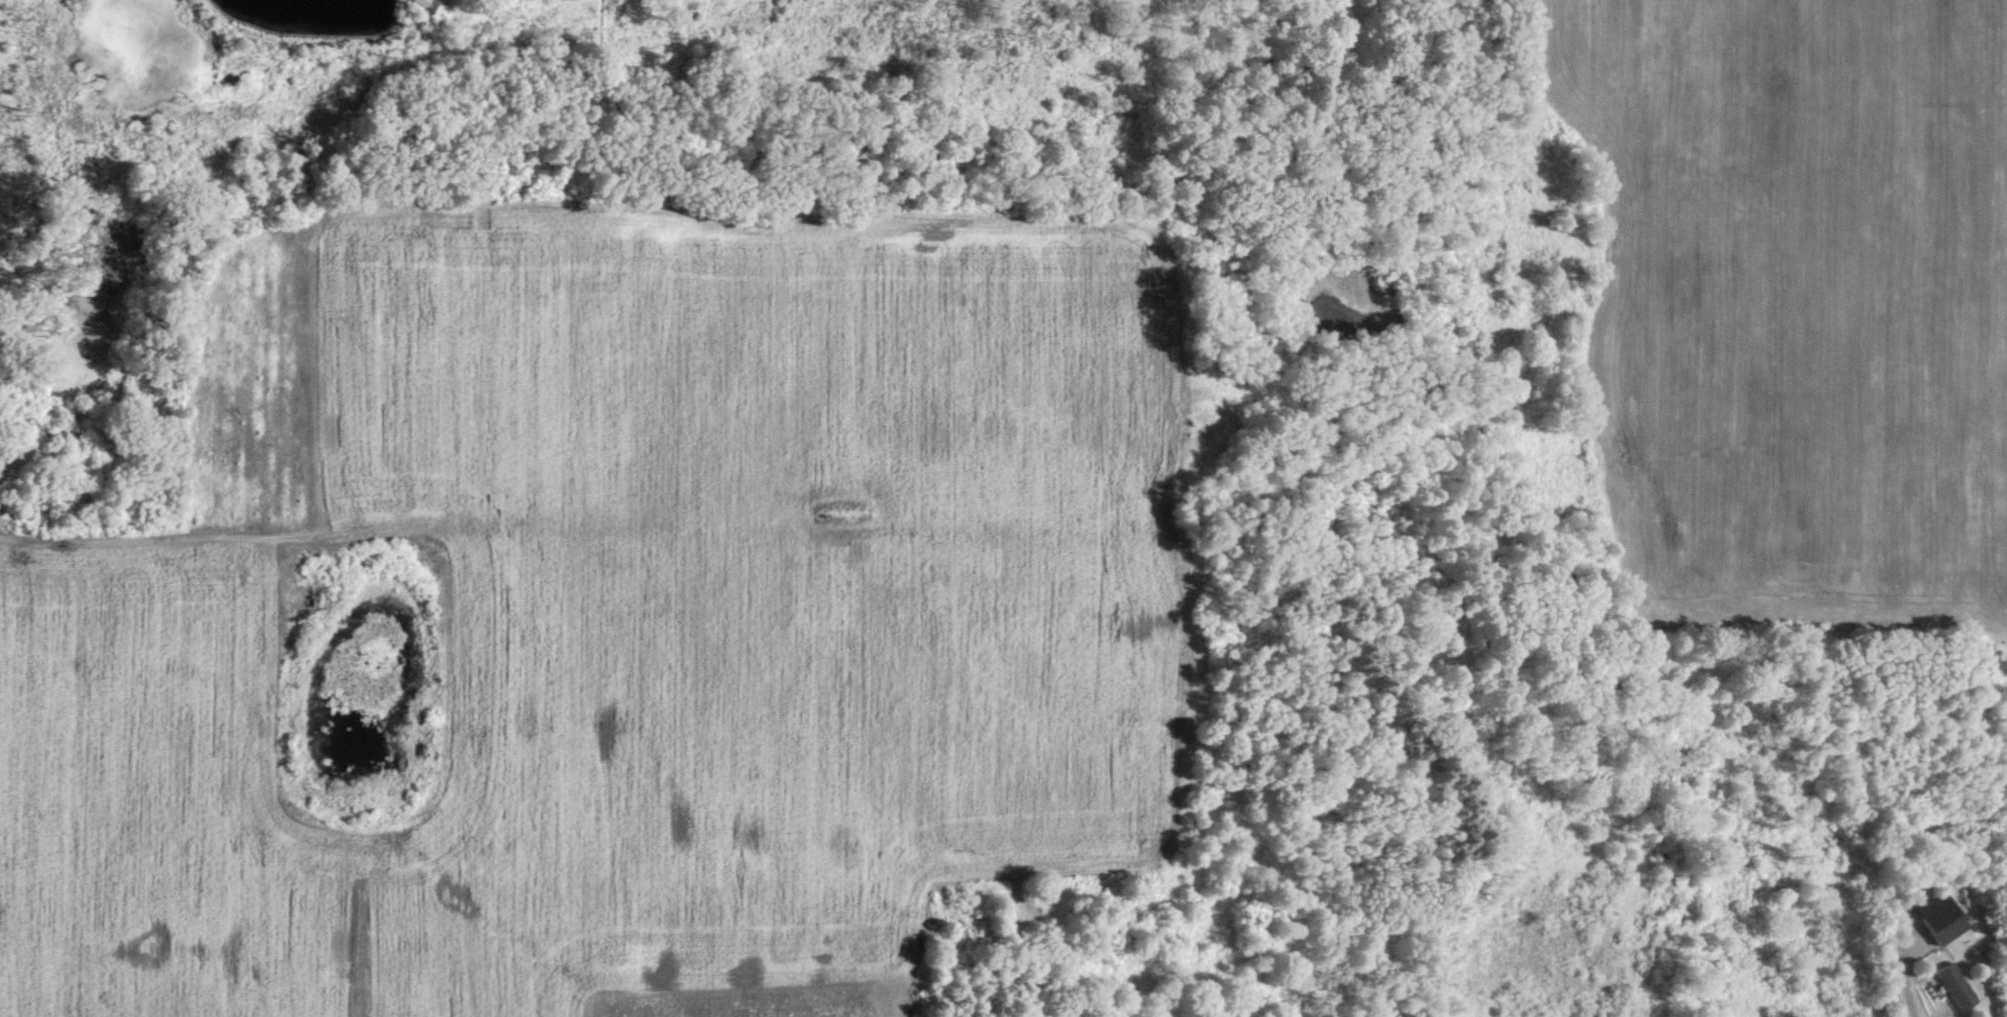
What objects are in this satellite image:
building: (424, 2)
building: (1948, 917)
road: (1914, 976)
building: (1962, 985)

